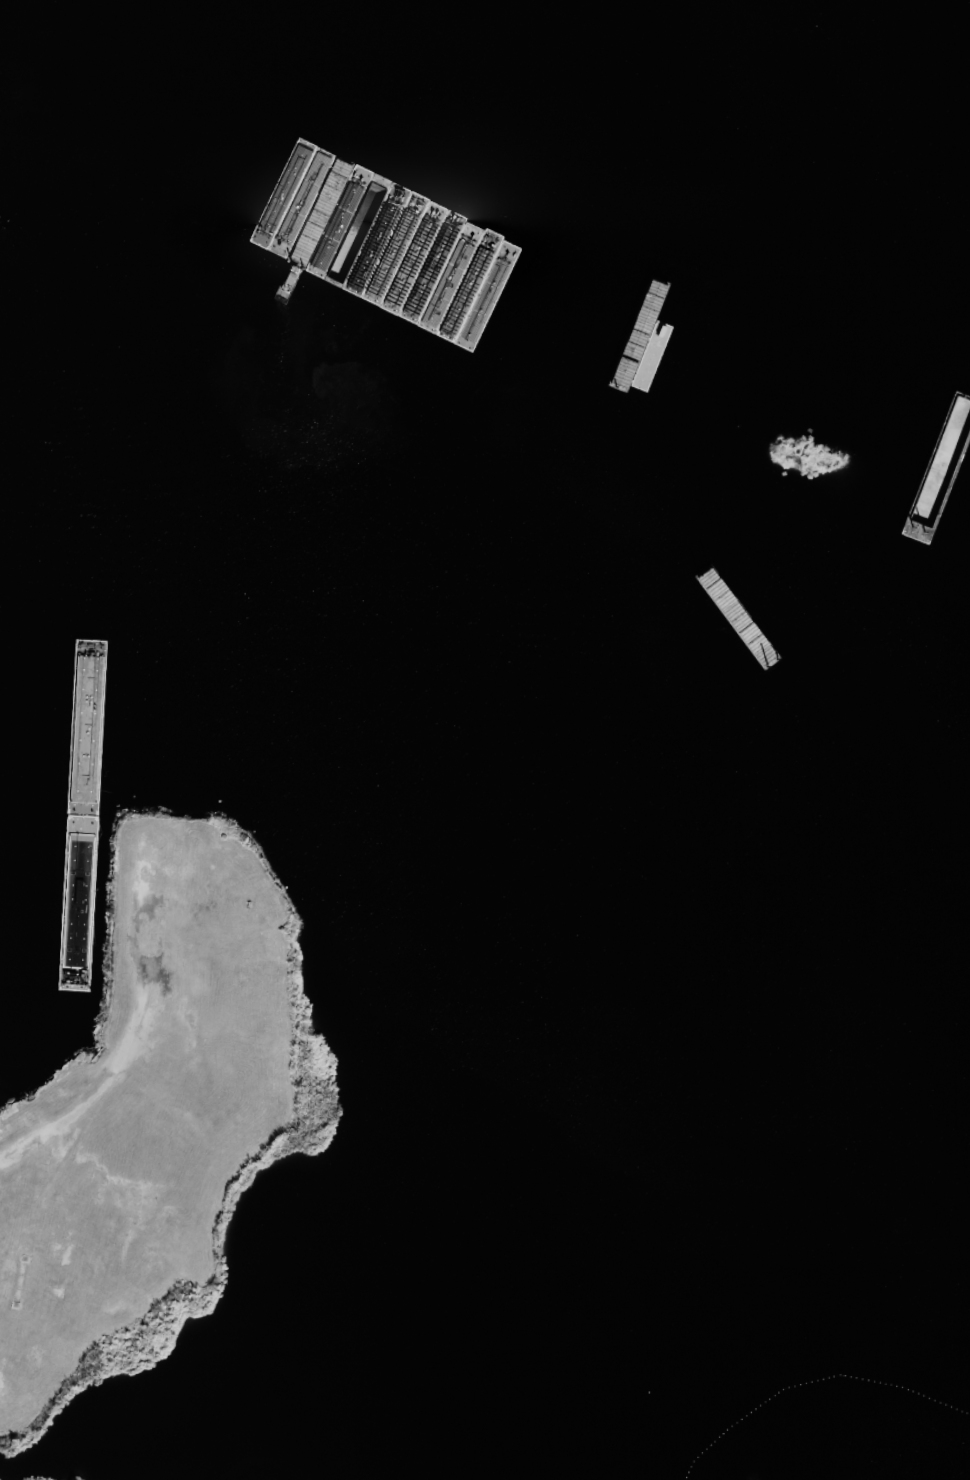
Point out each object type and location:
river: (538, 568)
building: (167, 933)
road: (115, 1064)
landfill: (868, 1451)

